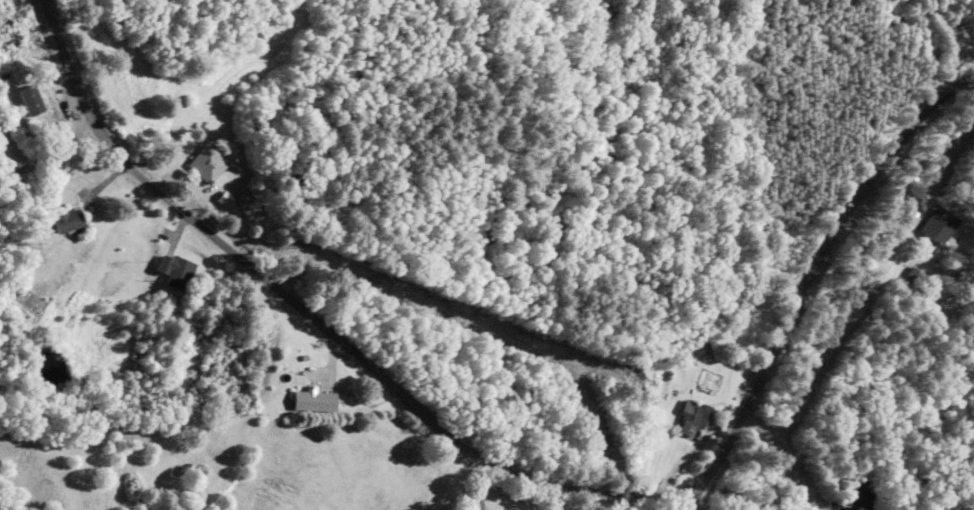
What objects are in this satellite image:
building: (41, 100)
building: (209, 163)
building: (234, 203)
building: (71, 221)
building: (943, 223)
building: (177, 272)
building: (316, 399)
building: (694, 418)
road: (513, 473)
road: (473, 481)
road: (683, 498)
road: (561, 499)

